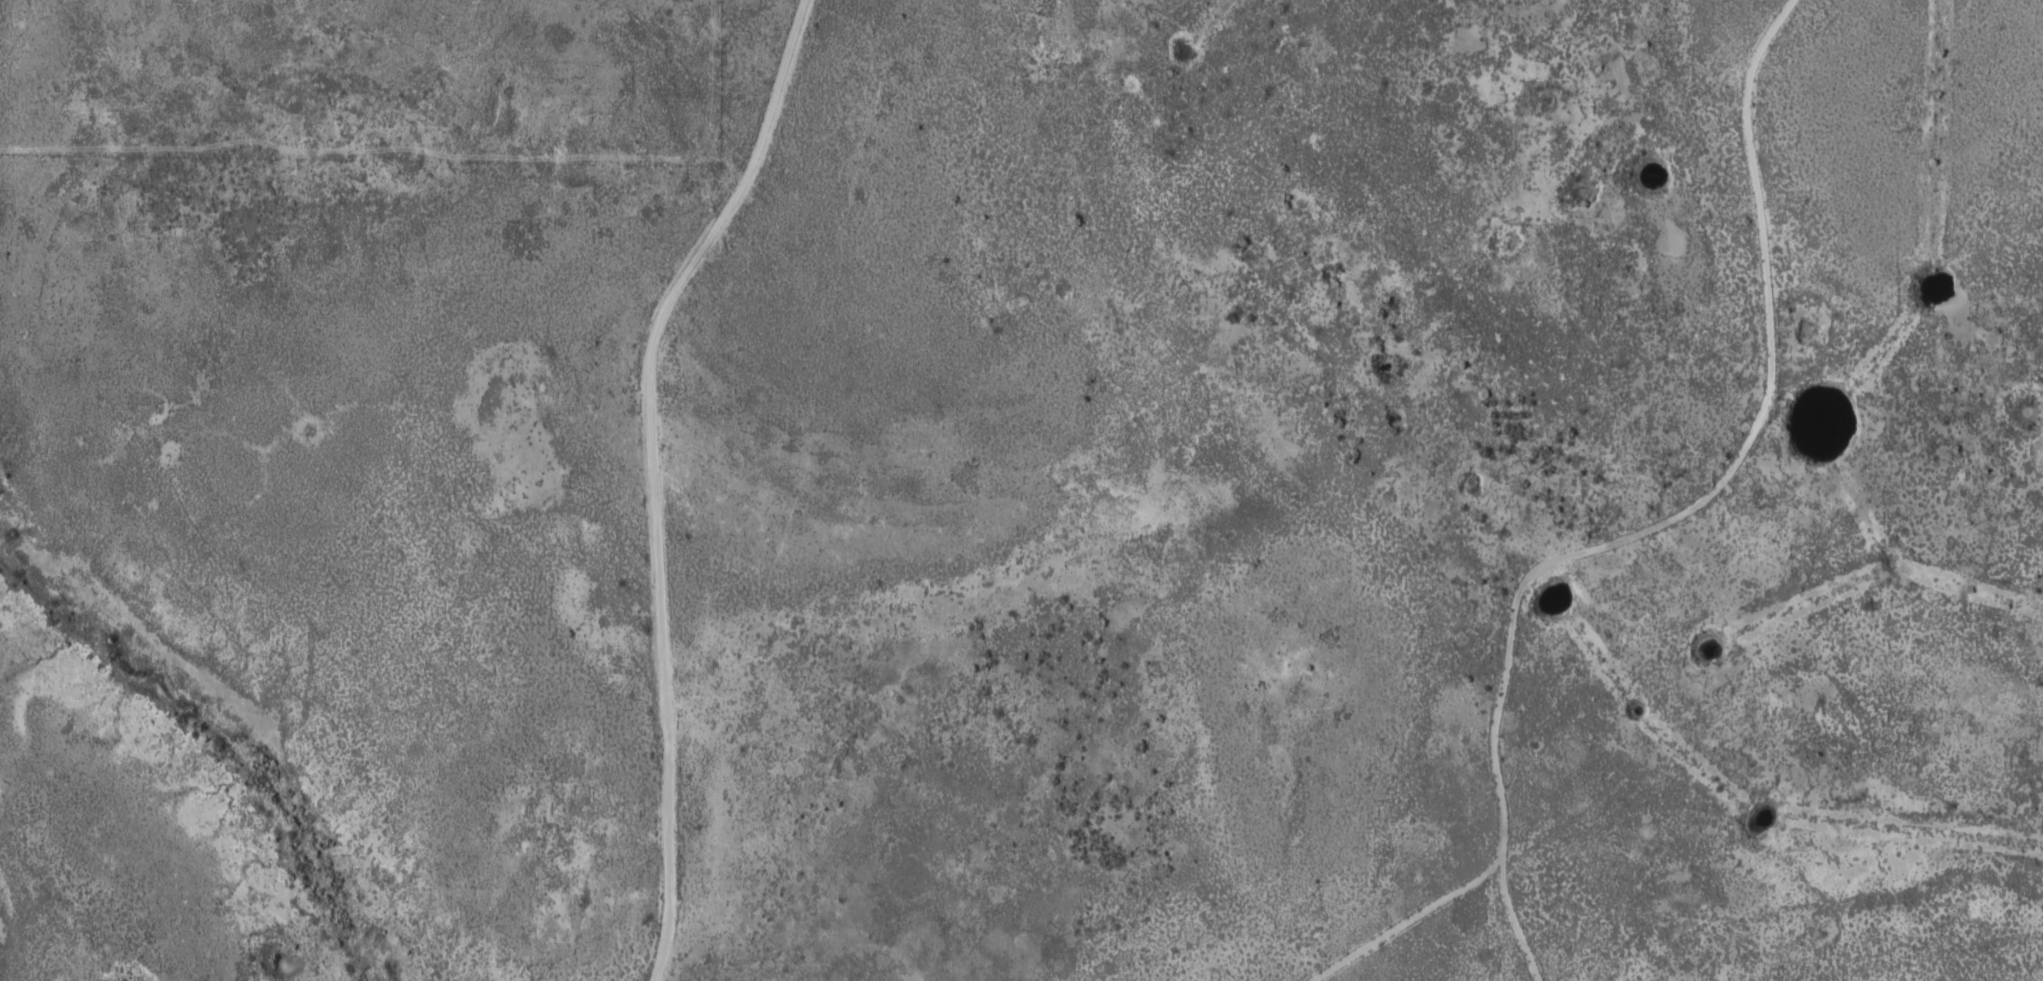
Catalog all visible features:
road: (652, 476)
road: (1691, 481)
road: (1427, 899)

